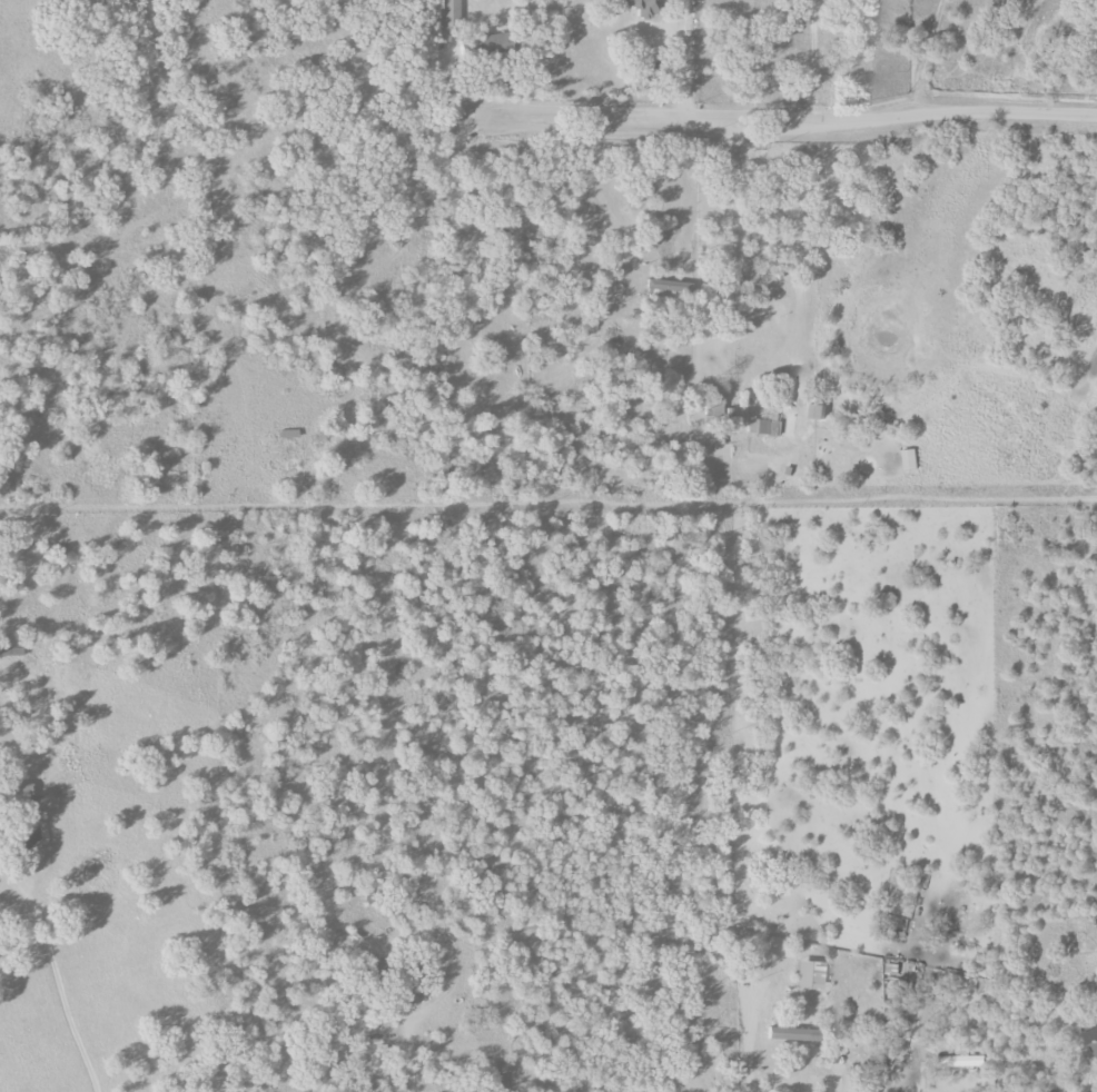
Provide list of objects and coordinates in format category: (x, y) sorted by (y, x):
building: (643, 7)
building: (447, 20)
building: (493, 44)
road: (686, 51)
road: (810, 60)
road: (783, 121)
road: (729, 244)
building: (662, 285)
building: (764, 426)
building: (911, 459)
building: (810, 974)
road: (52, 985)
building: (793, 1034)
building: (1094, 1038)
road: (803, 1075)

